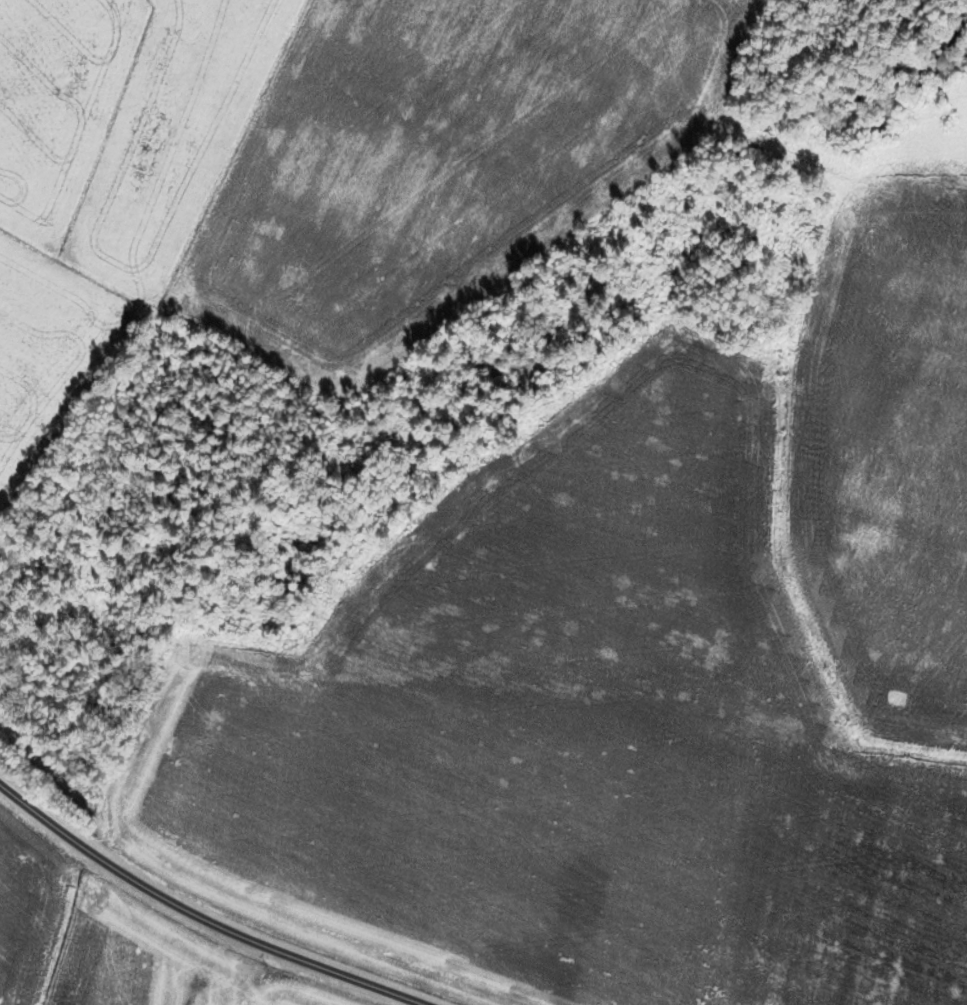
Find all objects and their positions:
road: (201, 916)

